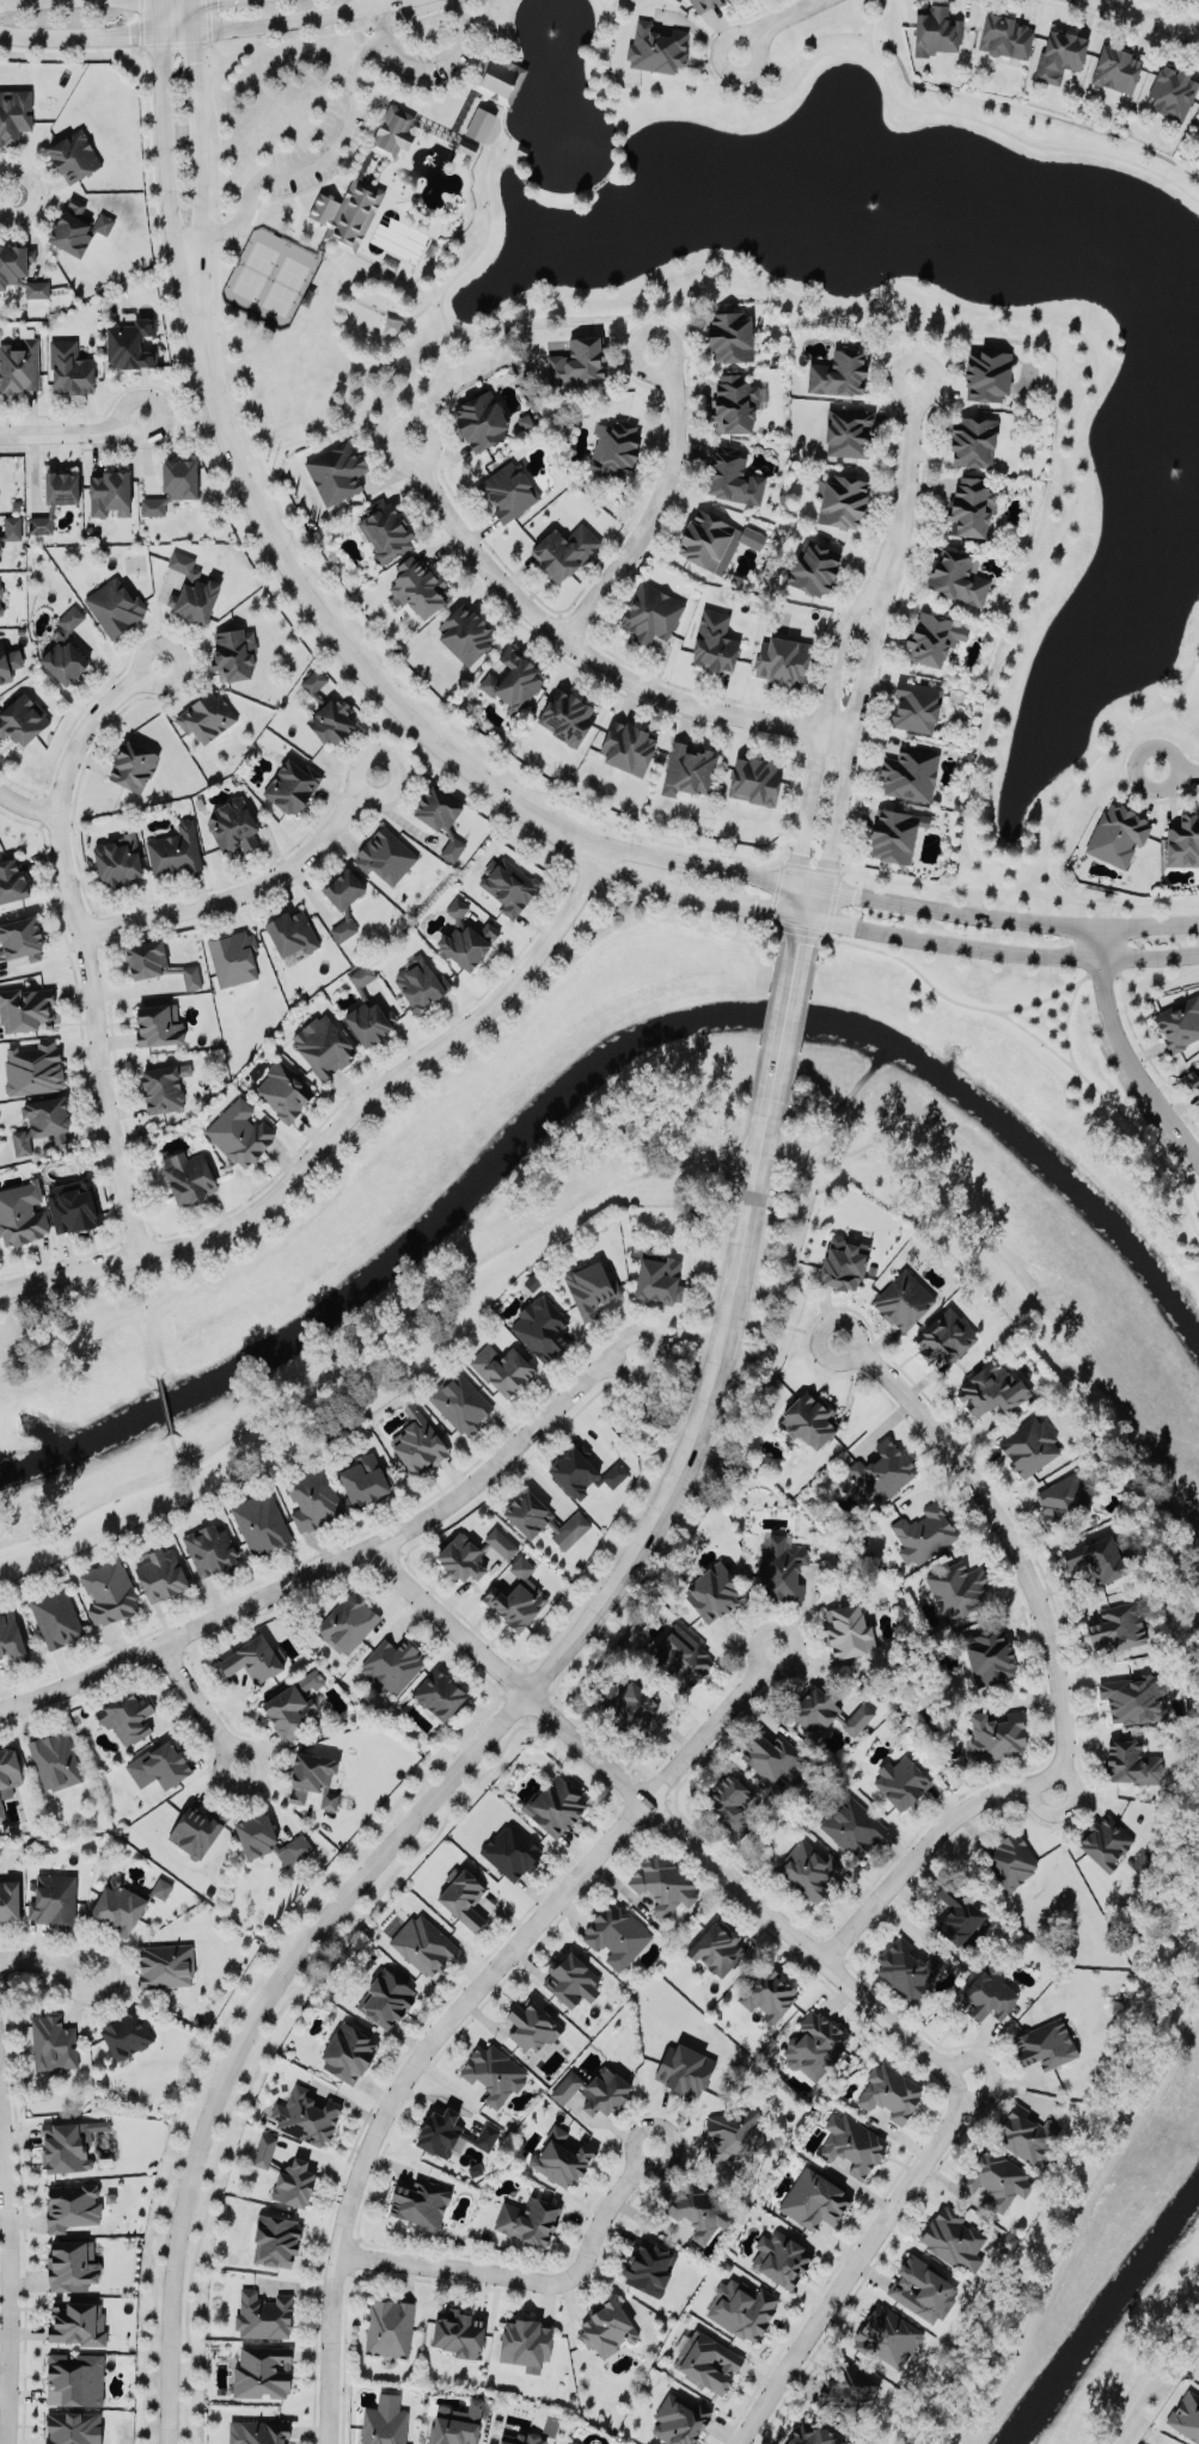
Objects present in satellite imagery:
road: (5, 1)
building: (702, 4)
road: (1174, 7)
road: (1150, 17)
road: (732, 18)
road: (206, 20)
road: (145, 22)
road: (282, 22)
road: (776, 22)
road: (1125, 23)
road: (873, 29)
building: (935, 30)
building: (1005, 36)
road: (79, 37)
road: (183, 42)
road: (247, 44)
road: (508, 44)
building: (656, 48)
building: (1059, 55)
road: (426, 63)
building: (1115, 69)
building: (498, 76)
road: (435, 82)
road: (625, 91)
building: (1172, 92)
road: (912, 109)
building: (14, 114)
building: (479, 123)
building: (392, 131)
building: (1197, 133)
road: (197, 141)
road: (164, 142)
building: (73, 155)
road: (296, 167)
road: (328, 176)
road: (35, 194)
road: (47, 194)
building: (353, 214)
road: (326, 220)
building: (102, 223)
road: (487, 227)
building: (71, 228)
road: (674, 269)
building: (20, 270)
road: (372, 307)
road: (648, 318)
building: (729, 336)
building: (129, 343)
road: (218, 347)
building: (576, 363)
building: (18, 366)
building: (69, 368)
building: (838, 374)
building: (986, 374)
road: (176, 408)
road: (173, 410)
road: (341, 421)
building: (479, 421)
road: (69, 430)
building: (848, 433)
building: (973, 441)
building: (613, 449)
road: (216, 460)
building: (336, 472)
building: (730, 477)
road: (906, 483)
building: (172, 485)
building: (508, 491)
building: (108, 492)
building: (54, 498)
building: (840, 501)
road: (655, 507)
building: (969, 507)
building: (11, 527)
building: (385, 531)
road: (1058, 534)
road: (446, 538)
building: (714, 540)
building: (563, 551)
building: (814, 569)
building: (958, 577)
building: (418, 587)
building: (0, 590)
building: (191, 592)
building: (114, 607)
building: (0, 611)
building: (650, 613)
road: (320, 618)
building: (465, 632)
building: (932, 638)
building: (714, 642)
building: (65, 651)
road: (587, 653)
building: (233, 655)
building: (782, 660)
building: (8, 662)
building: (313, 680)
building: (510, 680)
road: (668, 686)
building: (916, 705)
building: (206, 716)
building: (567, 717)
building: (23, 719)
building: (331, 722)
road: (821, 729)
road: (1173, 735)
road: (852, 739)
road: (1107, 742)
building: (626, 748)
road: (394, 752)
building: (133, 765)
road: (1121, 767)
building: (687, 770)
road: (1176, 770)
building: (909, 773)
building: (754, 780)
building: (292, 785)
road: (1179, 791)
road: (25, 807)
road: (54, 810)
building: (441, 819)
building: (232, 825)
building: (893, 834)
building: (1118, 834)
road: (296, 839)
building: (1183, 841)
building: (173, 851)
building: (385, 856)
building: (117, 860)
road: (711, 865)
road: (601, 869)
road: (1030, 874)
road: (1053, 881)
building: (12, 882)
building: (507, 884)
road: (836, 884)
road: (1016, 888)
road: (247, 889)
road: (693, 899)
building: (342, 900)
road: (797, 901)
road: (813, 904)
road: (1010, 919)
road: (81, 930)
building: (292, 932)
road: (82, 937)
building: (465, 937)
road: (797, 937)
building: (20, 938)
road: (998, 950)
building: (146, 958)
building: (232, 958)
road: (1102, 973)
building: (190, 976)
building: (361, 978)
building: (420, 984)
road: (1163, 984)
road: (1045, 997)
building: (26, 1009)
building: (369, 1022)
building: (1179, 1023)
road: (1065, 1024)
building: (158, 1025)
road: (764, 1031)
road: (779, 1035)
road: (1033, 1035)
road: (796, 1039)
building: (322, 1046)
road: (1124, 1053)
road: (1146, 1053)
building: (1198, 1064)
building: (32, 1067)
river: (598, 1067)
road: (85, 1073)
building: (1193, 1079)
road: (356, 1085)
building: (163, 1086)
building: (285, 1091)
road: (398, 1094)
road: (1146, 1119)
building: (42, 1123)
road: (337, 1128)
building: (239, 1133)
building: (188, 1176)
road: (750, 1195)
building: (73, 1206)
building: (22, 1212)
road: (1198, 1230)
road: (711, 1249)
building: (843, 1266)
building: (657, 1279)
road: (1026, 1284)
building: (591, 1288)
building: (903, 1301)
building: (540, 1327)
road: (801, 1328)
building: (944, 1337)
road: (152, 1341)
road: (367, 1350)
building: (502, 1368)
road: (624, 1380)
building: (991, 1391)
building: (460, 1402)
road: (164, 1403)
building: (809, 1421)
building: (417, 1442)
building: (1028, 1446)
road: (175, 1448)
building: (881, 1470)
building: (583, 1474)
building: (362, 1481)
road: (693, 1493)
building: (1063, 1497)
building: (312, 1499)
building: (261, 1523)
building: (544, 1523)
building: (924, 1531)
building: (209, 1549)
building: (1100, 1552)
building: (471, 1555)
road: (337, 1560)
building: (781, 1569)
building: (160, 1576)
building: (714, 1587)
building: (958, 1588)
building: (108, 1593)
building: (516, 1597)
building: (55, 1617)
road: (1027, 1617)
building: (347, 1622)
building: (849, 1625)
building: (1117, 1627)
building: (11, 1637)
building: (989, 1653)
building: (679, 1659)
building: (253, 1662)
building: (391, 1665)
road: (1054, 1680)
road: (540, 1691)
building: (439, 1693)
building: (1134, 1693)
road: (197, 1704)
building: (293, 1704)
building: (631, 1708)
building: (825, 1711)
building: (126, 1715)
building: (997, 1733)
building: (773, 1754)
building: (54, 1760)
building: (1132, 1760)
building: (10, 1764)
building: (159, 1765)
building: (317, 1771)
road: (451, 1776)
building: (901, 1777)
building: (557, 1801)
building: (732, 1801)
building: (1, 1811)
road: (666, 1819)
building: (852, 1826)
building: (196, 1827)
building: (1106, 1838)
building: (269, 1840)
building: (510, 1851)
building: (1009, 1860)
building: (809, 1870)
building: (662, 1882)
building: (54, 1897)
building: (461, 1897)
building: (8, 1900)
building: (123, 1904)
building: (959, 1913)
building: (616, 1935)
building: (423, 1942)
building: (716, 1946)
road: (44, 1961)
building: (165, 1965)
building: (907, 1970)
building: (570, 1977)
building: (987, 1992)
building: (767, 1993)
building: (385, 1998)
road: (460, 2003)
building: (532, 2021)
building: (127, 2030)
building: (53, 2042)
building: (815, 2042)
building: (1045, 2044)
building: (347, 2050)
building: (683, 2065)
building: (494, 2070)
building: (593, 2087)
building: (889, 2091)
road: (1003, 2091)
building: (306, 2114)
building: (439, 2132)
building: (735, 2132)
building: (487, 2134)
building: (1026, 2134)
building: (66, 2142)
building: (852, 2142)
building: (562, 2154)
building: (285, 2172)
building: (997, 2177)
building: (814, 2197)
building: (420, 2200)
building: (71, 2206)
building: (701, 2206)
road: (1075, 2212)
building: (528, 2216)
building: (276, 2236)
building: (953, 2236)
building: (781, 2259)
building: (72, 2261)
building: (648, 2266)
road: (851, 2268)
road: (8, 2278)
road: (536, 2278)
building: (922, 2290)
building: (742, 2305)
building: (263, 2314)
building: (79, 2320)
river: (1106, 2320)
building: (608, 2324)
building: (390, 2326)
building: (459, 2329)
building: (886, 2333)
building: (526, 2341)
building: (706, 2358)
building: (262, 2370)
road: (1150, 2370)
building: (75, 2377)
building: (846, 2393)
building: (1186, 2415)
building: (680, 2418)
building: (385, 2425)
building: (73, 2426)
building: (454, 2426)
building: (257, 2431)
building: (814, 2432)
building: (521, 2437)
building: (574, 2440)

